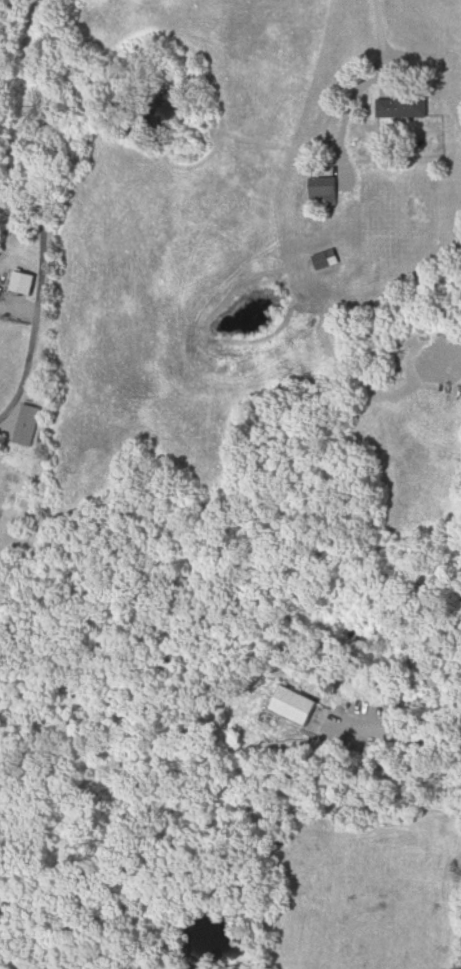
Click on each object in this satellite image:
road: (382, 52)
building: (403, 106)
building: (325, 192)
road: (38, 211)
building: (328, 260)
building: (25, 283)
road: (401, 731)

